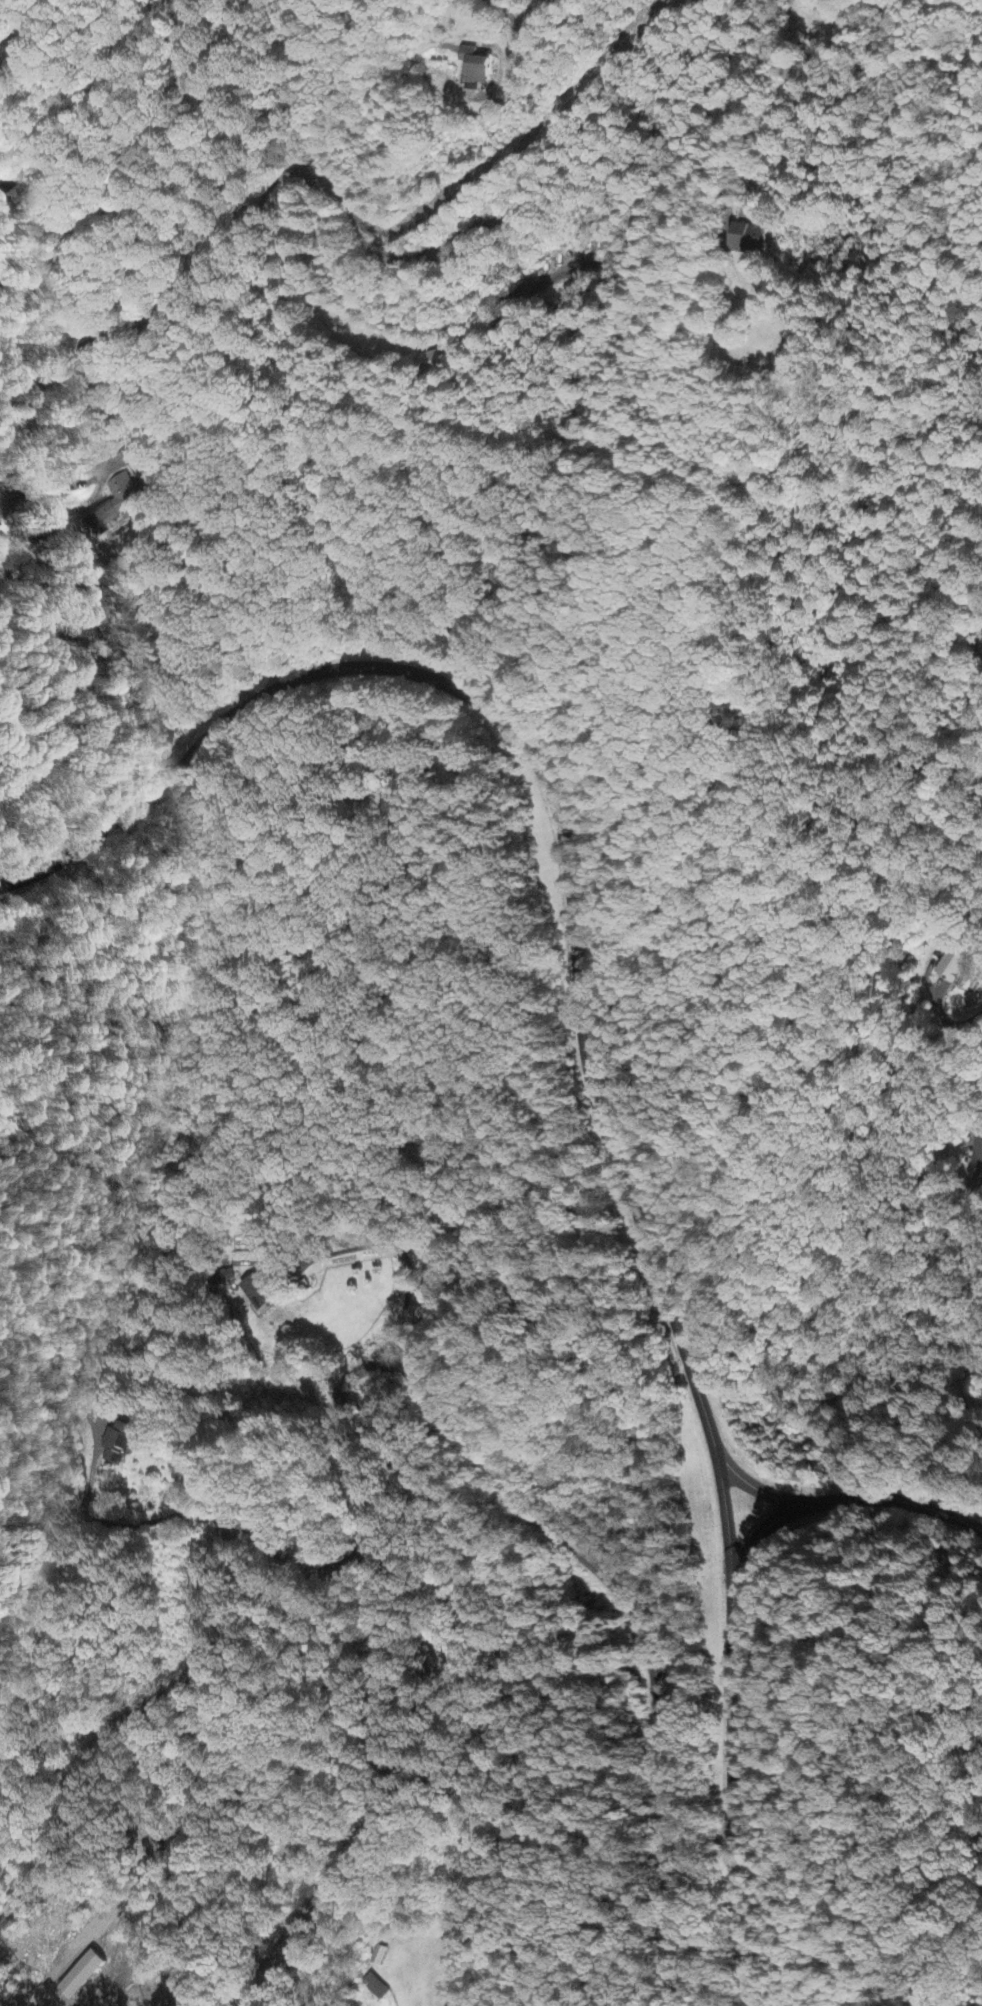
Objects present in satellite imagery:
road: (804, 14)
building: (474, 68)
road: (130, 166)
road: (338, 196)
building: (748, 239)
road: (408, 325)
road: (47, 485)
building: (111, 513)
road: (543, 782)
building: (953, 966)
road: (948, 1023)
building: (258, 1295)
road: (345, 1380)
road: (754, 1486)
road: (898, 1499)
road: (722, 1502)
road: (758, 1532)
road: (689, 1698)
road: (731, 1796)

